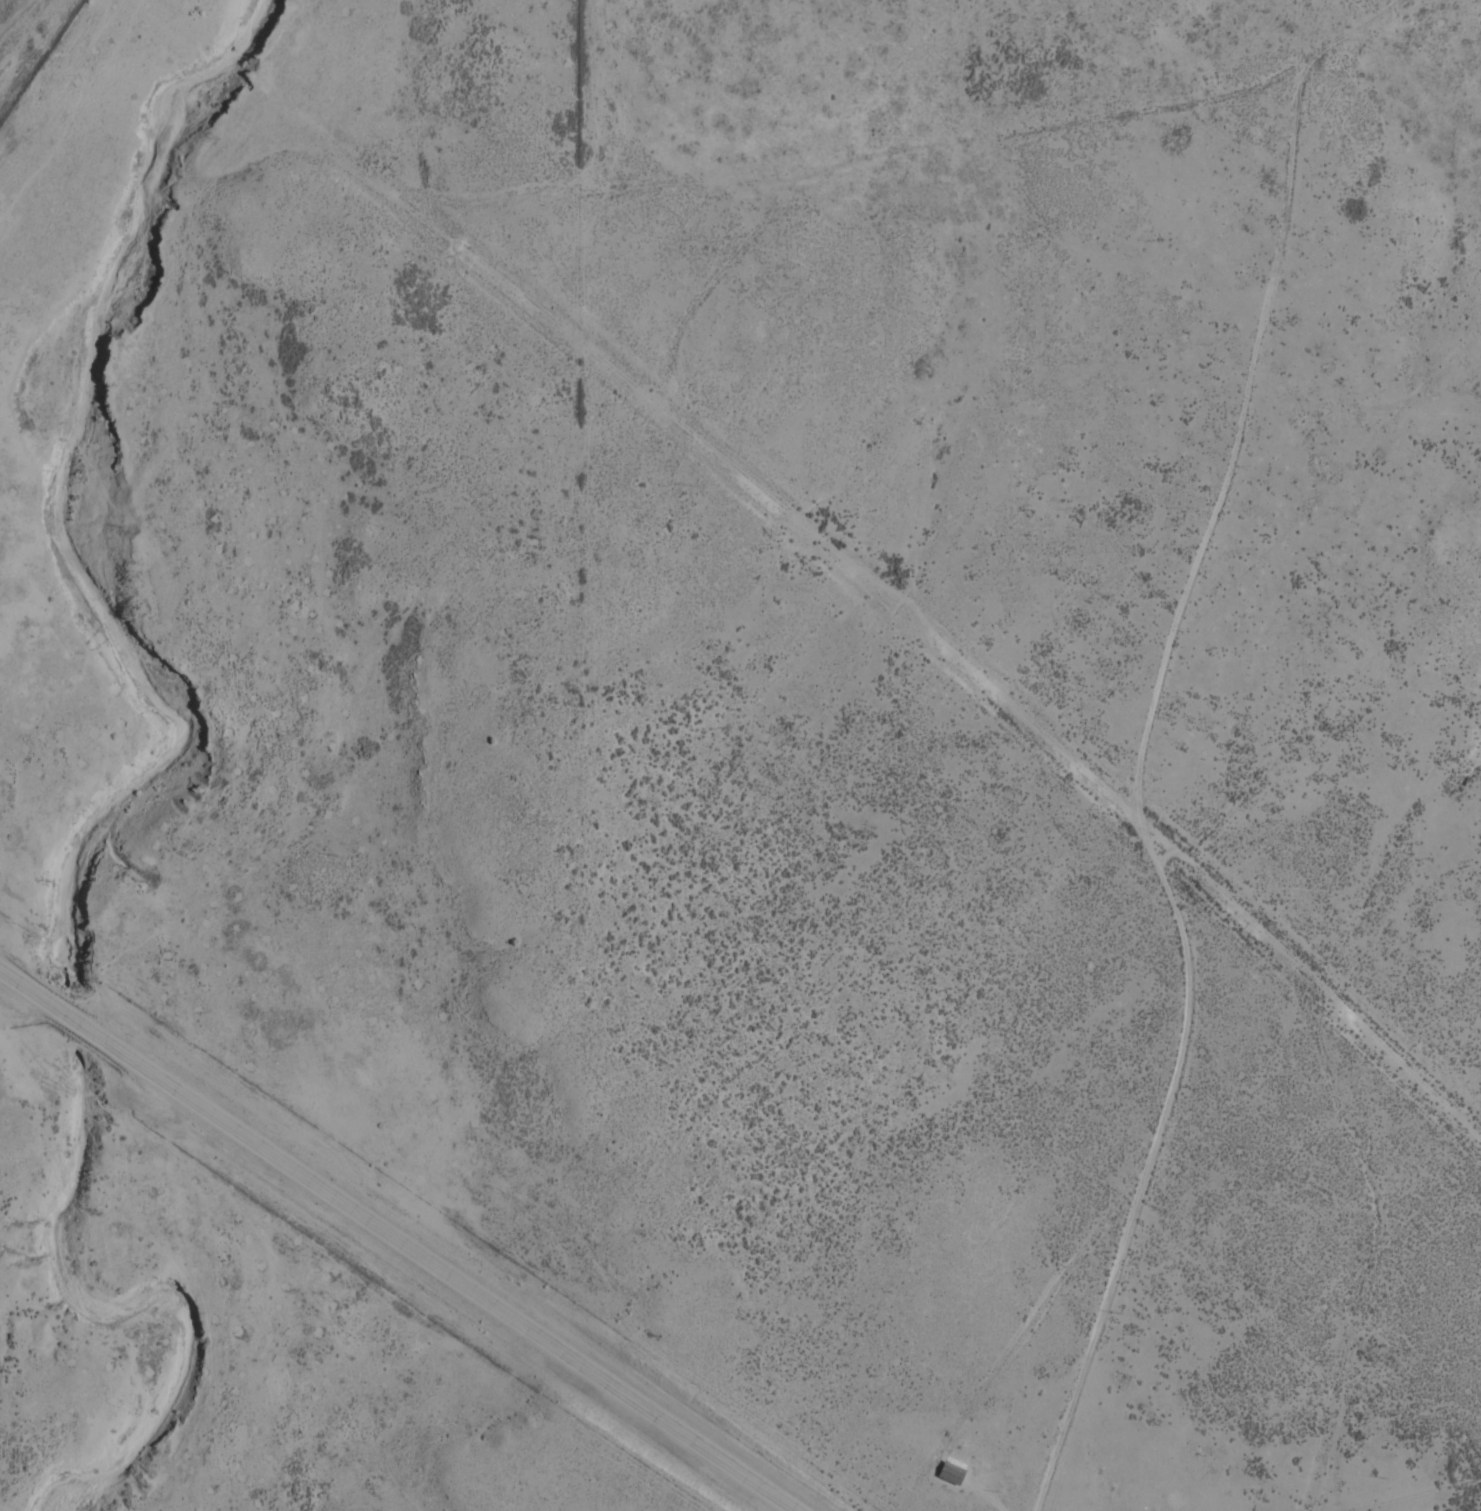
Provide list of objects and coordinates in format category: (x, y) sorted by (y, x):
road: (215, 42)
road: (798, 197)
road: (1024, 776)
road: (382, 1246)

